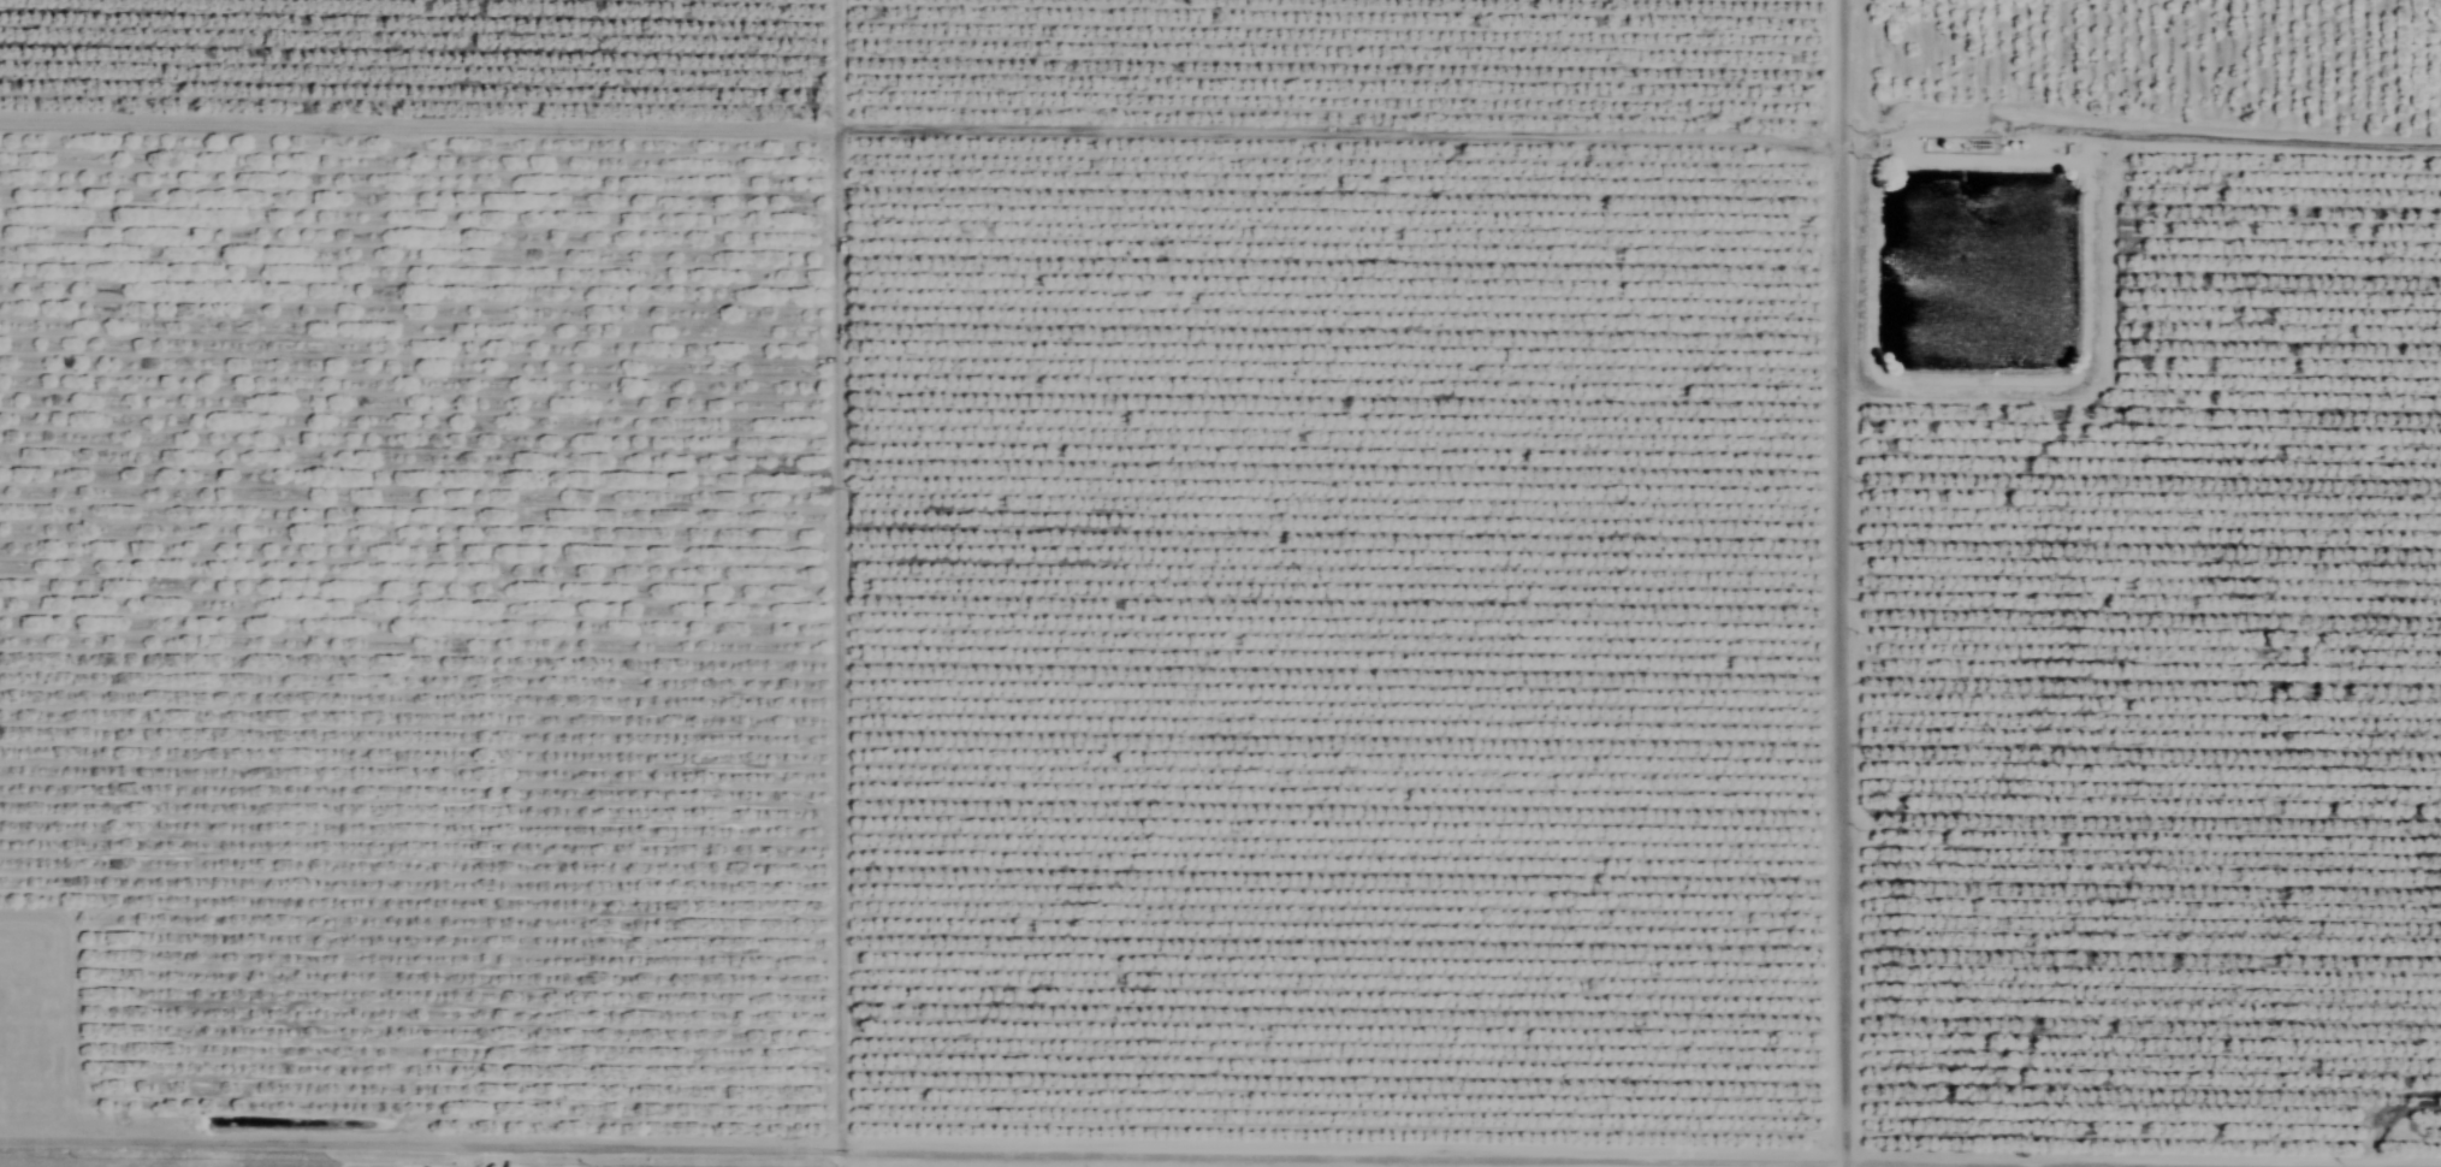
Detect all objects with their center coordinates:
road: (2140, 131)
road: (919, 135)
road: (840, 571)
crop: (1225, 580)
road: (1845, 583)
road: (1220, 1149)
road: (466, 1154)

